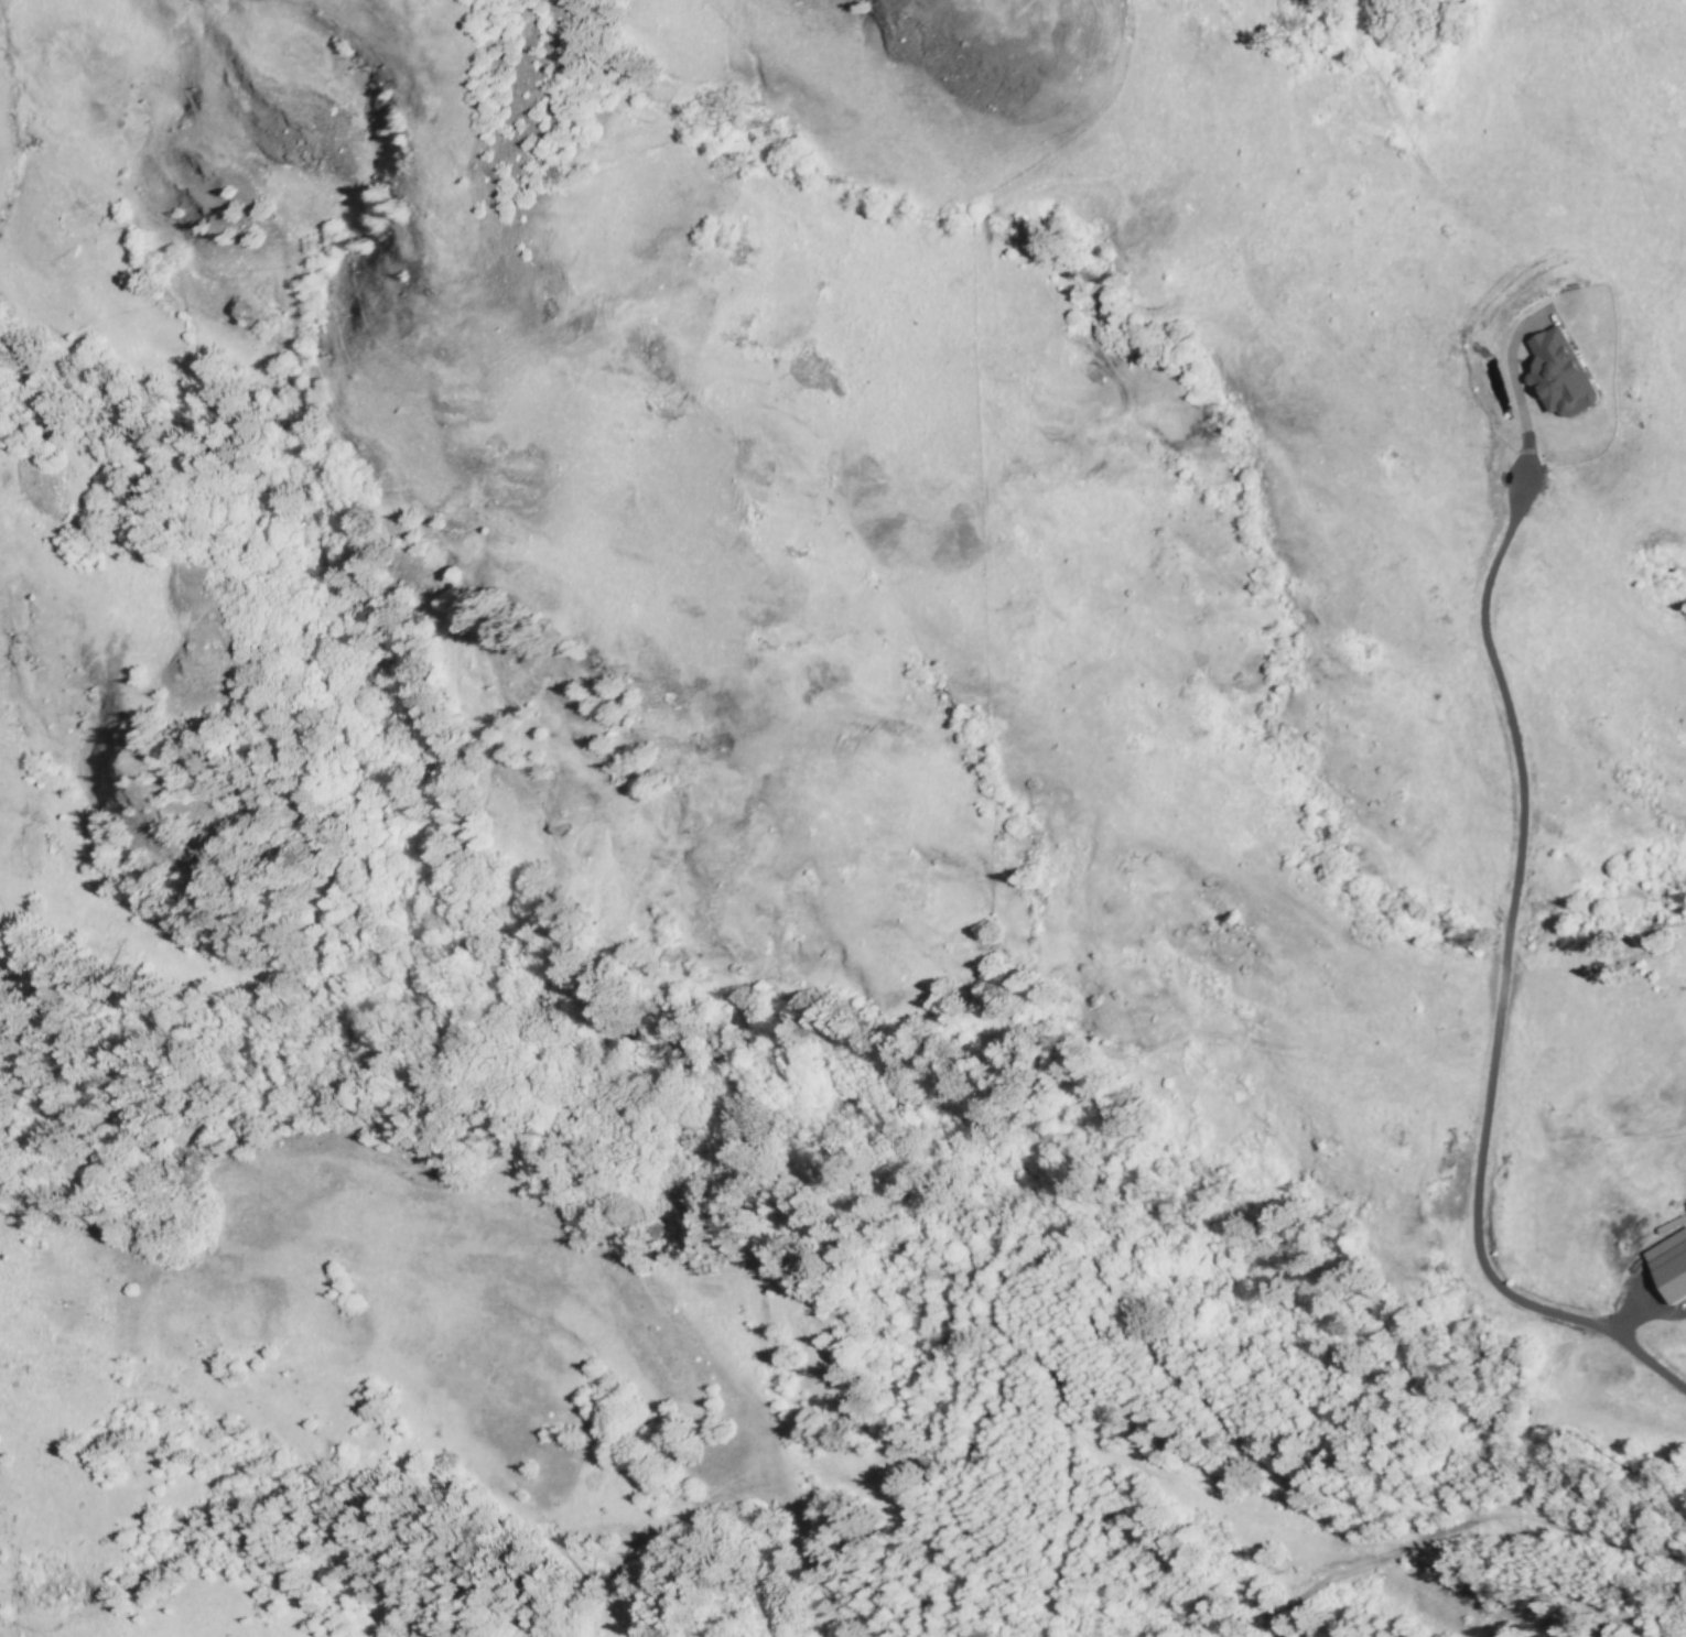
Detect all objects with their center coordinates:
building: (1557, 375)
building: (1668, 1266)

